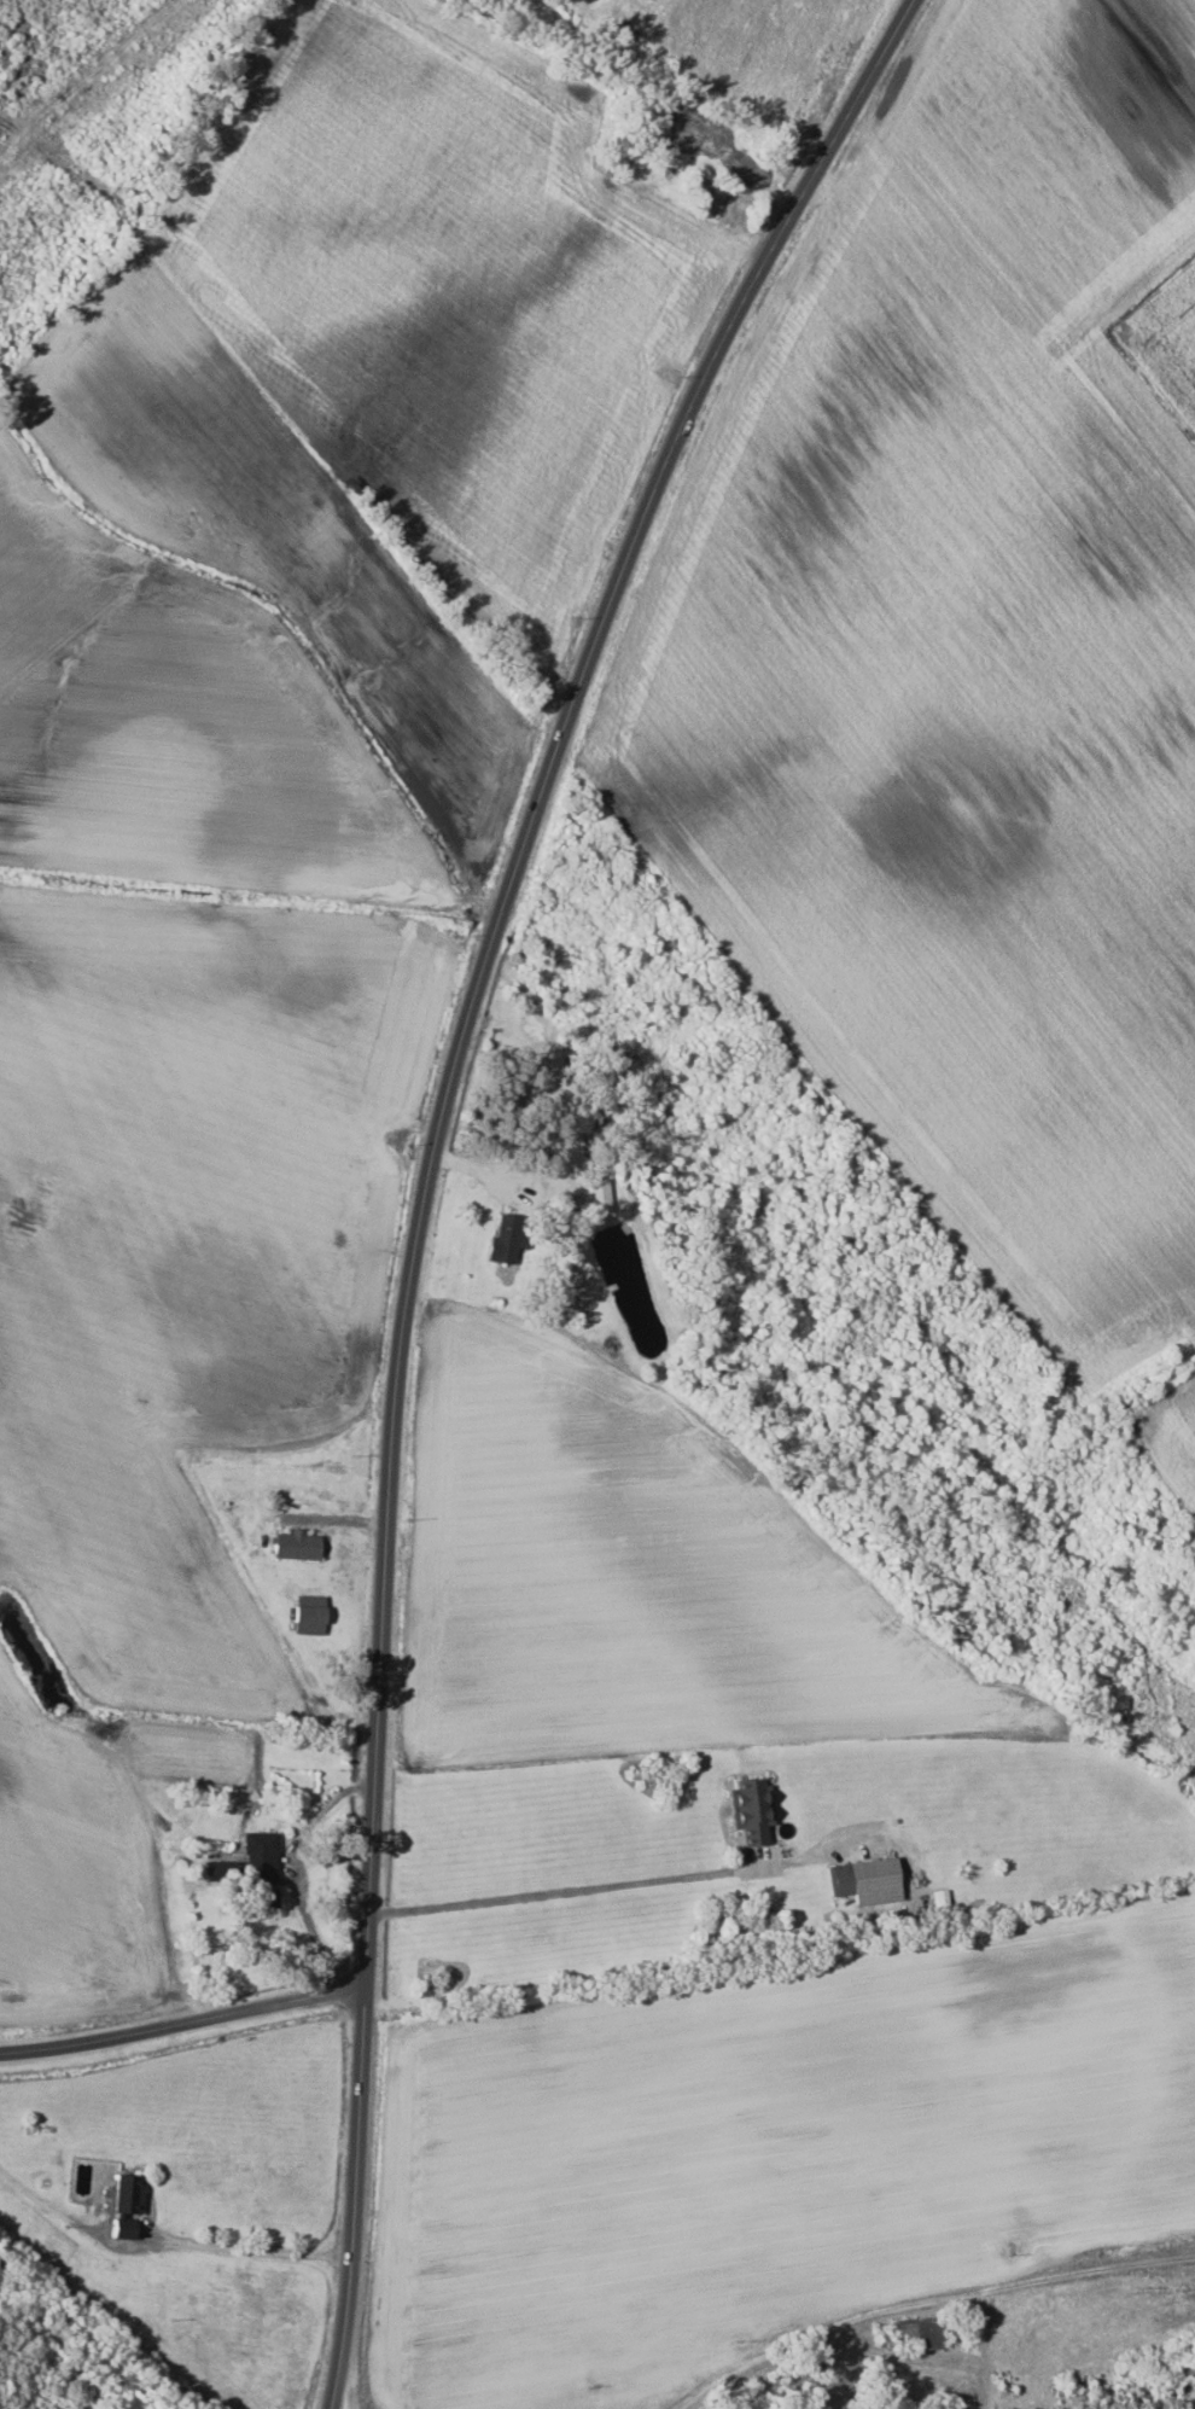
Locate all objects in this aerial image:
road: (445, 1158)
building: (503, 1239)
building: (296, 1544)
building: (308, 1613)
building: (750, 1808)
building: (252, 1867)
building: (865, 1880)
road: (575, 1889)
road: (183, 2023)
building: (126, 2206)
road: (925, 2303)
building: (917, 2333)

